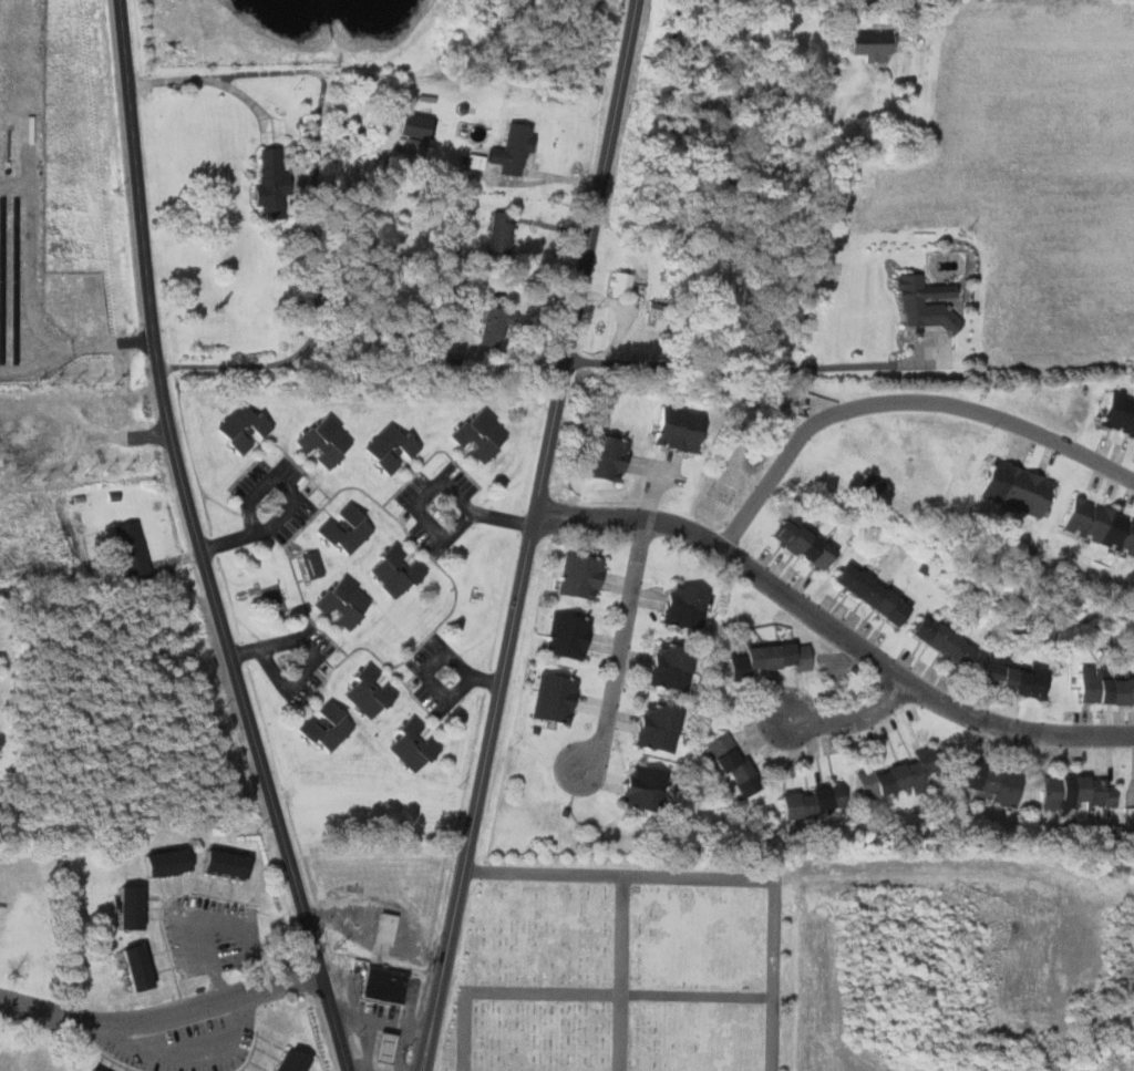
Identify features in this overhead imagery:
building: (867, 44)
road: (210, 78)
building: (413, 145)
building: (507, 153)
building: (276, 182)
building: (504, 231)
building: (621, 284)
building: (919, 302)
building: (499, 323)
road: (81, 393)
road: (903, 401)
building: (1120, 412)
building: (246, 428)
building: (681, 429)
building: (485, 436)
building: (327, 441)
building: (394, 447)
building: (609, 457)
road: (439, 487)
building: (1021, 488)
road: (296, 501)
building: (1102, 524)
building: (350, 527)
road: (532, 535)
road: (197, 543)
building: (808, 545)
building: (134, 549)
building: (313, 564)
building: (391, 568)
building: (584, 574)
building: (876, 593)
building: (267, 600)
building: (347, 600)
building: (688, 605)
road: (834, 628)
building: (570, 634)
building: (948, 642)
road: (621, 646)
road: (315, 653)
building: (769, 657)
building: (674, 663)
road: (434, 665)
building: (1019, 678)
building: (1105, 688)
building: (557, 694)
building: (372, 697)
road: (852, 720)
building: (661, 725)
building: (327, 727)
building: (413, 746)
building: (736, 763)
building: (898, 774)
building: (993, 781)
building: (648, 786)
building: (1133, 789)
building: (1081, 790)
building: (816, 800)
building: (172, 861)
building: (230, 861)
road: (620, 876)
building: (134, 905)
road: (214, 921)
building: (386, 927)
building: (141, 965)
road: (621, 974)
road: (775, 974)
park: (616, 976)
building: (386, 982)
road: (619, 993)
road: (164, 1019)
road: (464, 1030)
building: (386, 1041)
building: (378, 1047)
road: (192, 1059)
building: (296, 1060)
building: (97, 1069)
building: (84, 1070)

